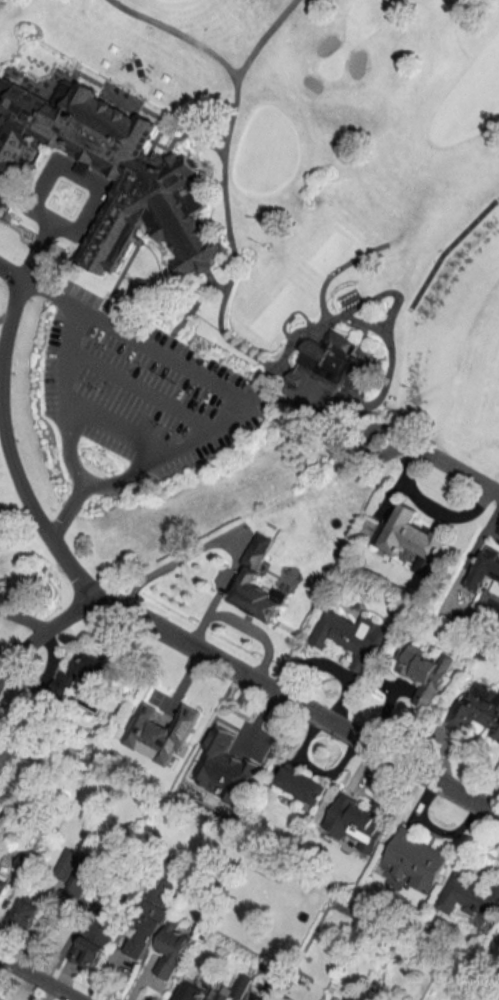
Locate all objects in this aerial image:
road: (257, 37)
building: (109, 171)
road: (74, 230)
road: (35, 247)
park: (236, 252)
road: (10, 270)
road: (335, 270)
road: (224, 285)
road: (48, 292)
road: (385, 292)
road: (7, 313)
road: (4, 314)
road: (289, 315)
road: (159, 352)
building: (323, 370)
parking lot: (138, 385)
road: (135, 388)
road: (115, 426)
road: (64, 446)
road: (441, 460)
road: (119, 476)
road: (430, 508)
road: (62, 512)
road: (36, 519)
building: (410, 534)
building: (485, 568)
building: (256, 588)
road: (23, 617)
road: (41, 633)
building: (350, 638)
building: (424, 673)
building: (79, 675)
road: (297, 706)
building: (476, 711)
building: (201, 734)
building: (6, 753)
building: (302, 784)
building: (356, 822)
road: (435, 834)
road: (470, 850)
building: (416, 860)
building: (23, 862)
building: (66, 864)
building: (82, 881)
building: (4, 883)
building: (470, 897)
building: (26, 911)
building: (146, 925)
building: (93, 943)
building: (171, 950)
road: (35, 980)
building: (229, 990)
building: (189, 991)

